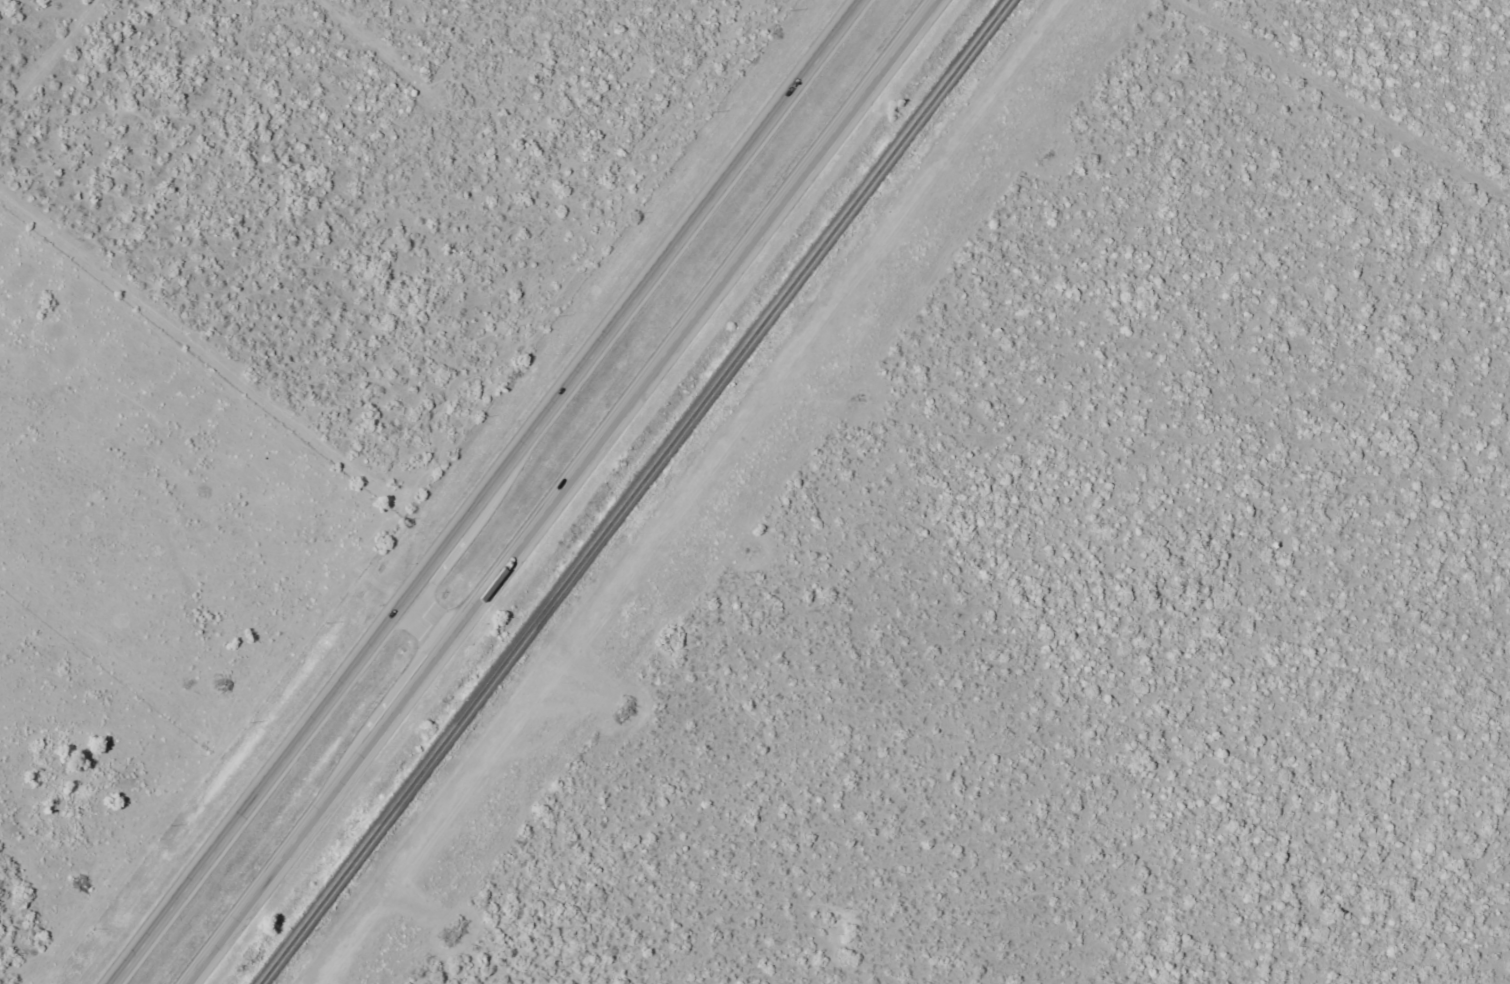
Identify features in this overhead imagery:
railway: (635, 491)
road: (482, 492)
road: (572, 492)

